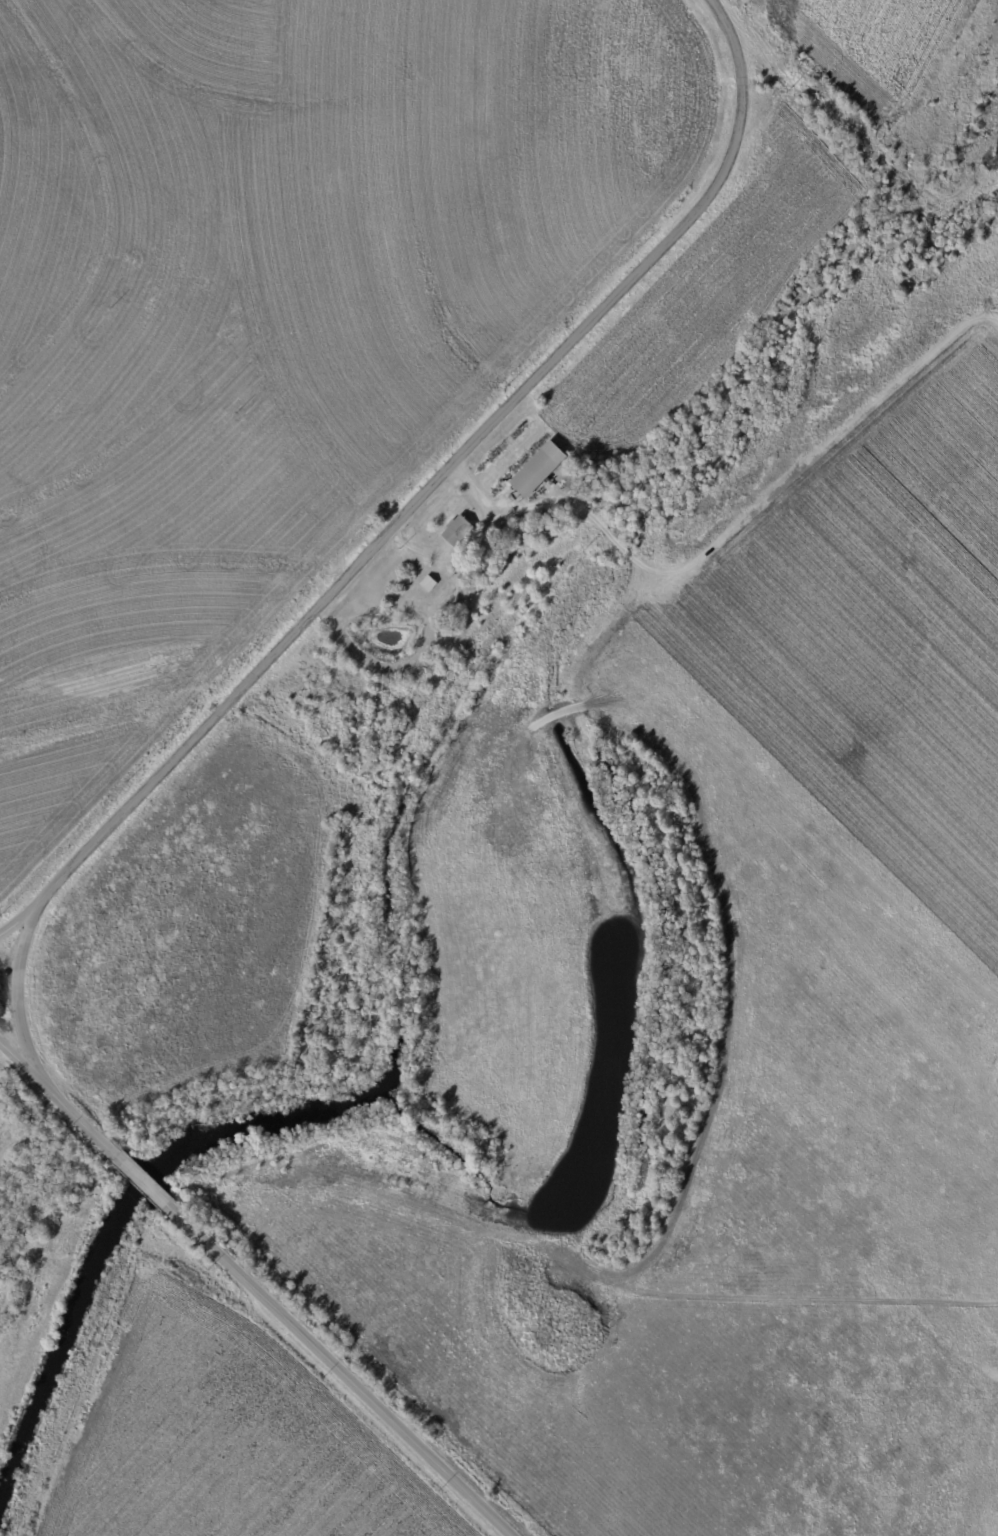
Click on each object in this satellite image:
building: (542, 469)
building: (609, 474)
road: (444, 477)
building: (579, 485)
building: (459, 531)
building: (429, 584)
road: (17, 923)
road: (18, 999)
road: (250, 1291)

